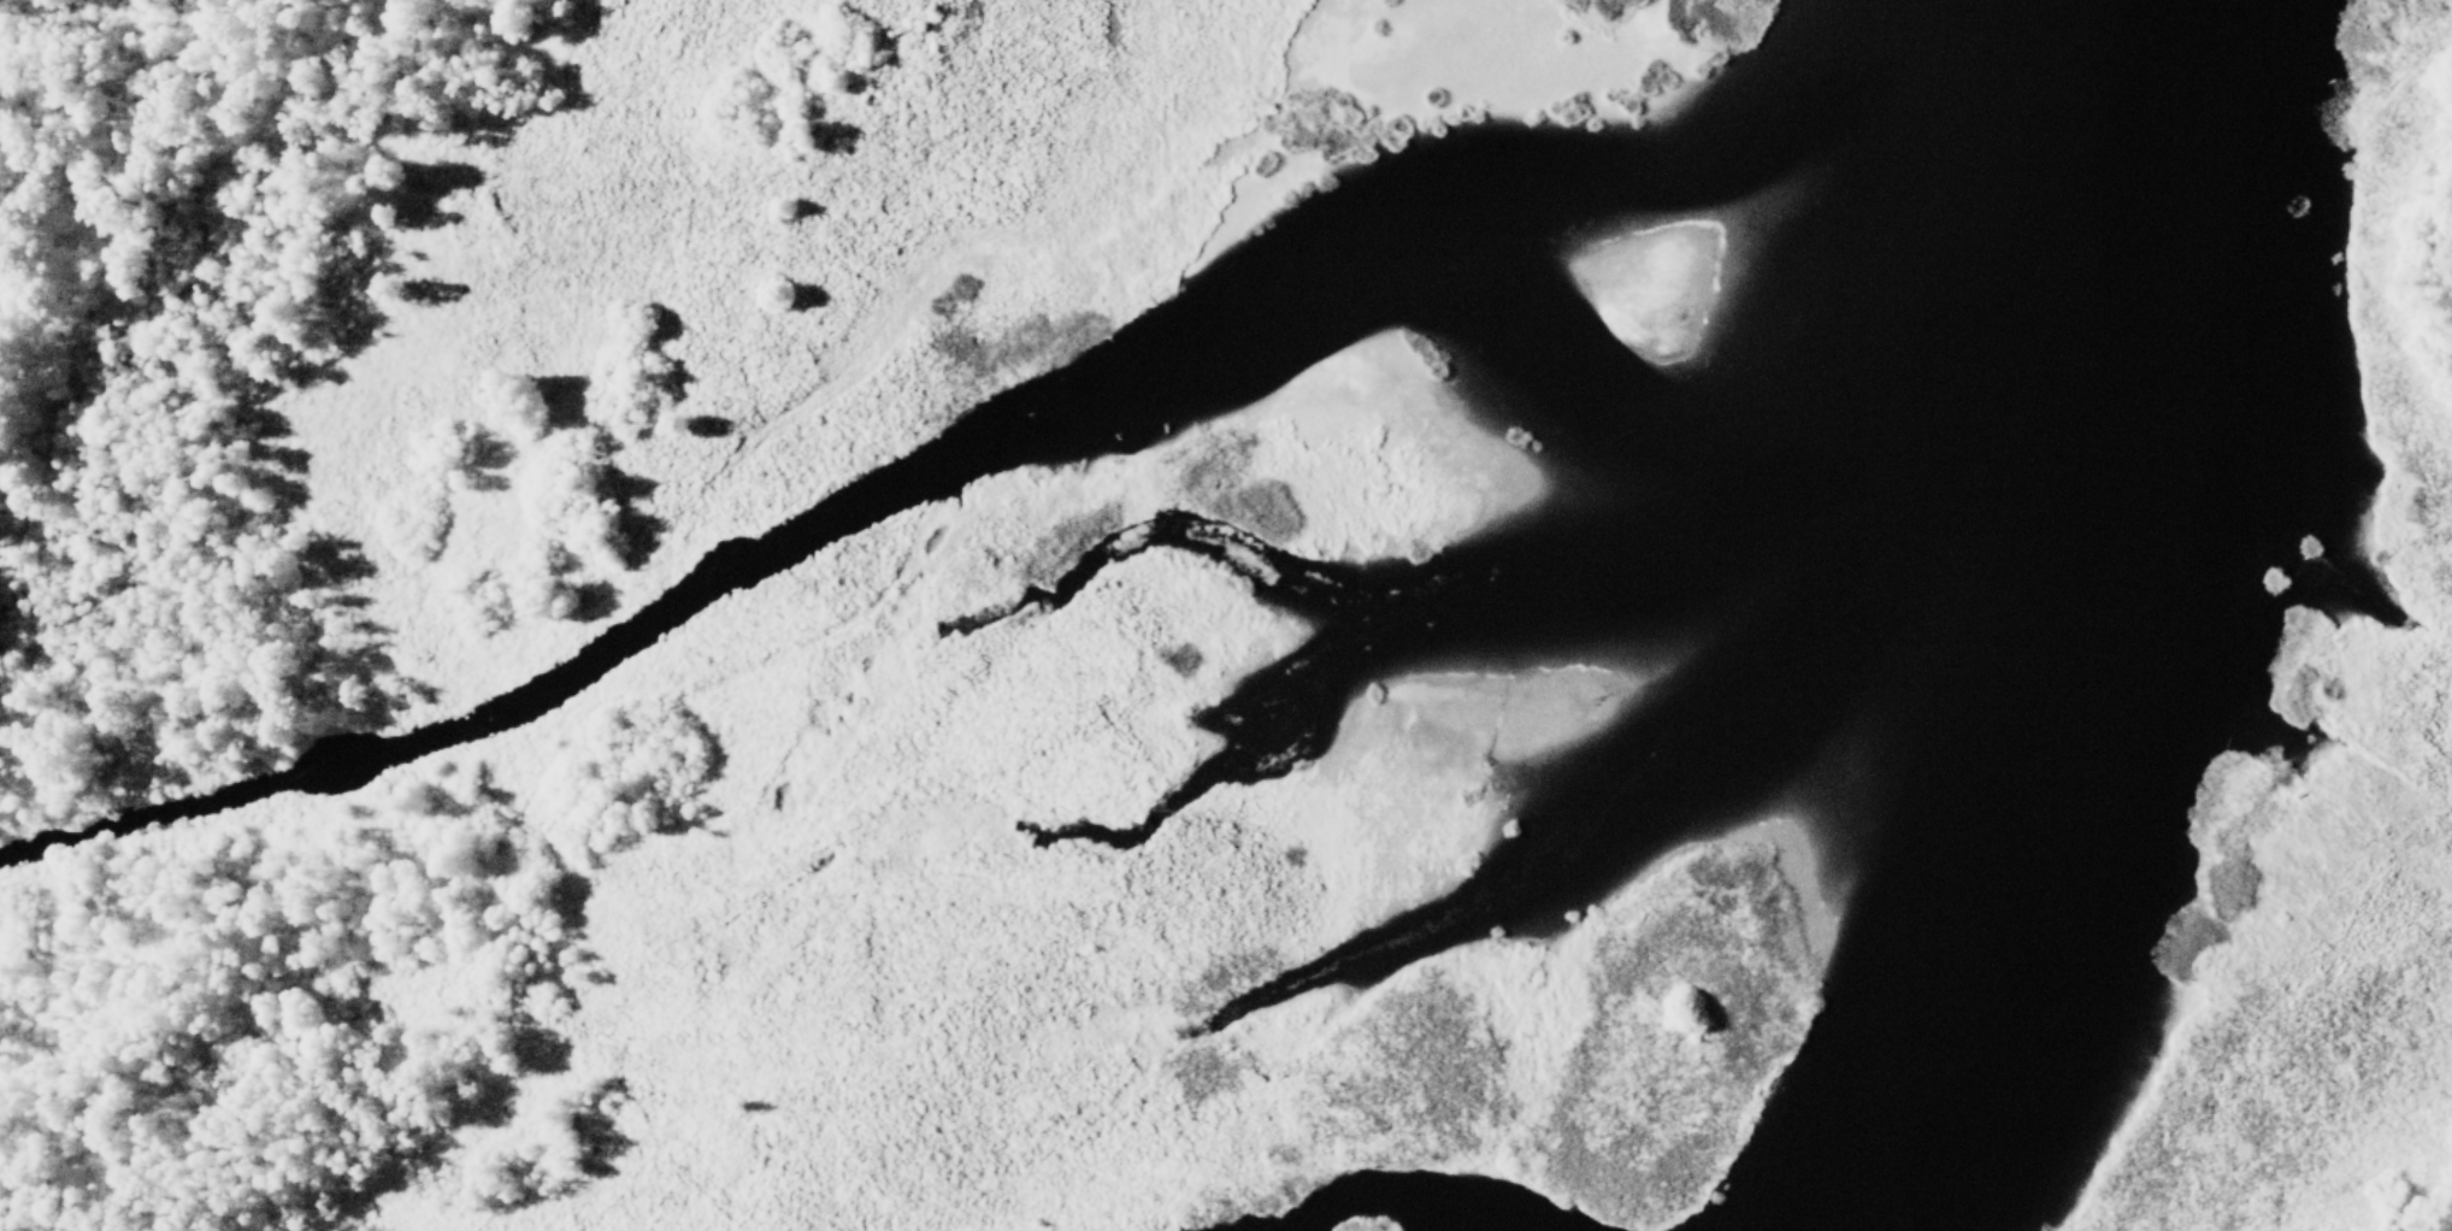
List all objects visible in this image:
road: (2450, 293)
river: (951, 452)
road: (471, 799)
road: (2421, 1211)

